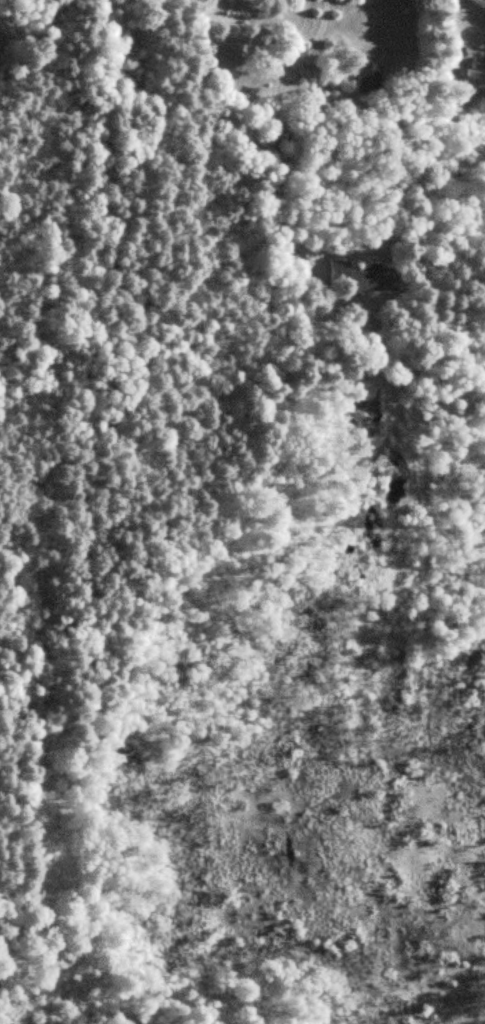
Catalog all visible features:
building: (477, 63)
building: (367, 77)
building: (456, 77)
building: (358, 275)

